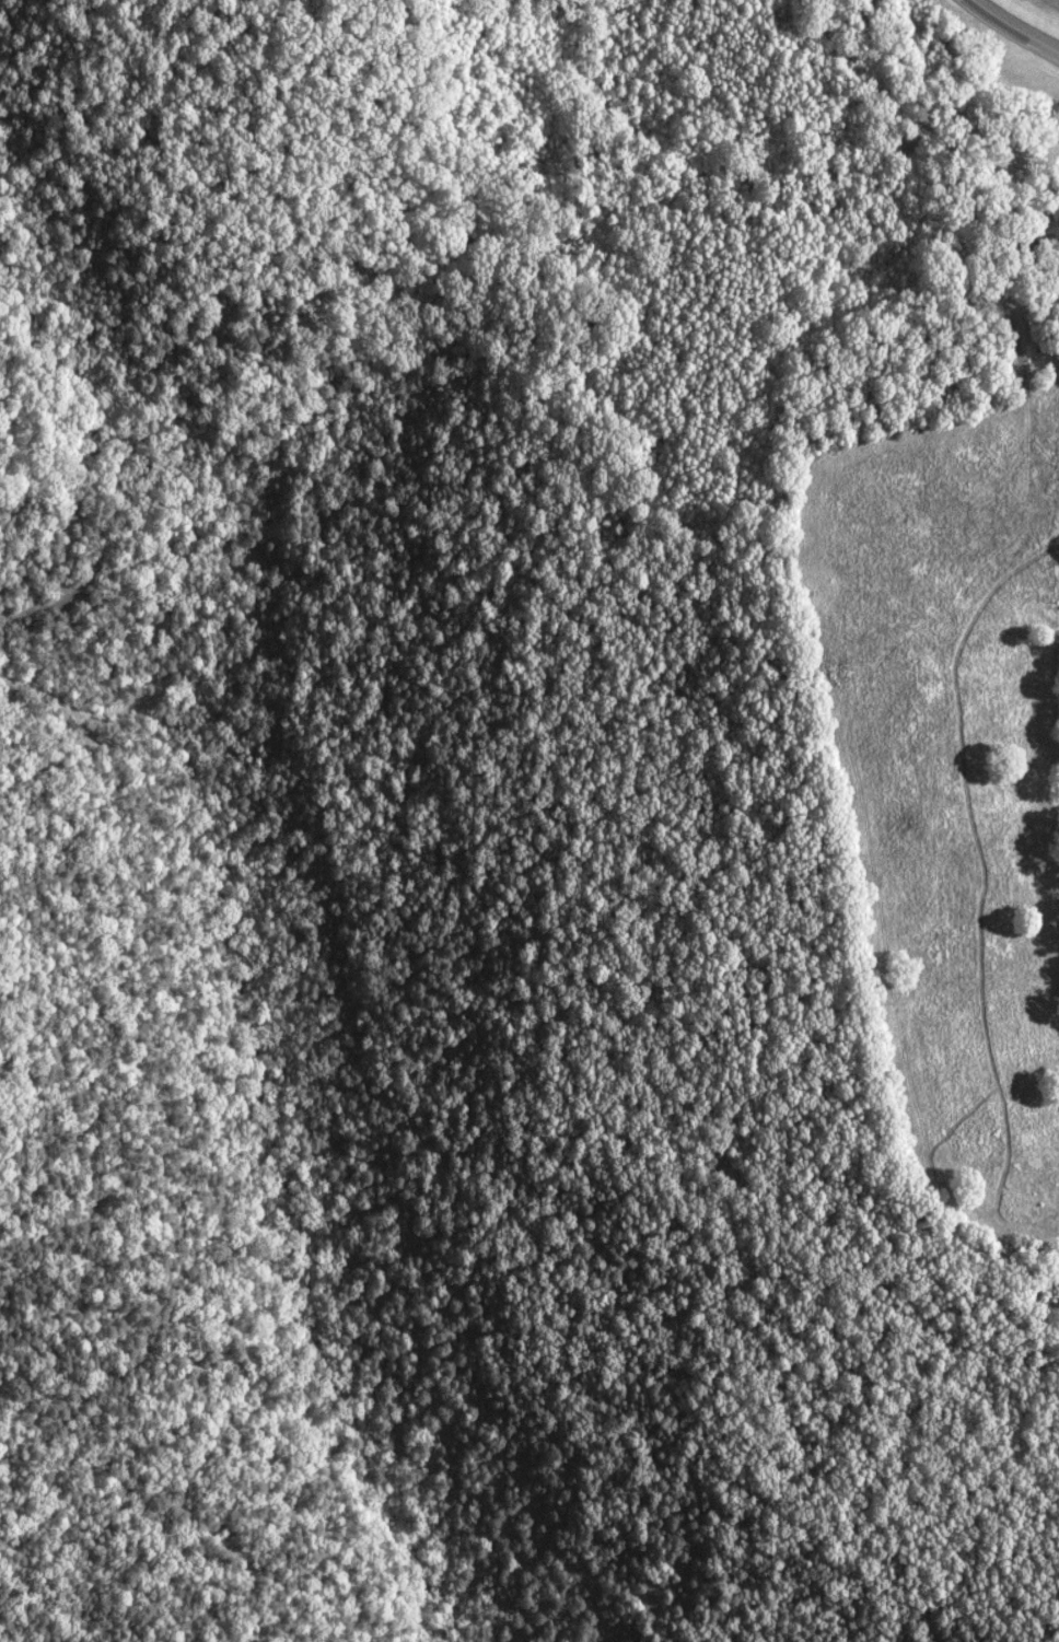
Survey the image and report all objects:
road: (1000, 12)
road: (1037, 35)
road: (918, 98)
building: (1049, 222)

